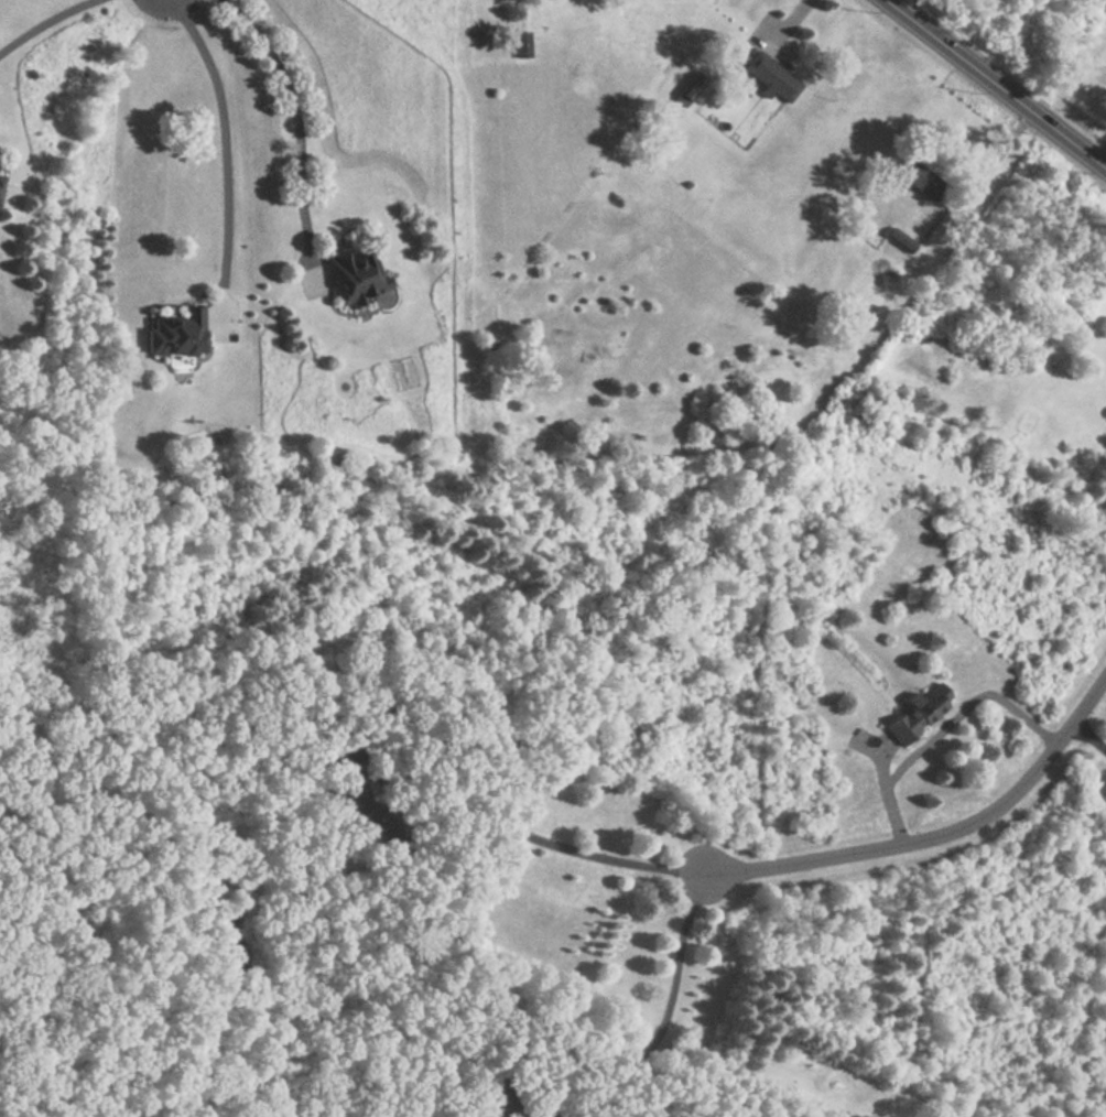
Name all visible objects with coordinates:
road: (787, 20)
road: (46, 25)
building: (522, 45)
building: (770, 77)
road: (996, 84)
road: (295, 110)
road: (224, 132)
road: (996, 154)
building: (920, 180)
building: (340, 276)
building: (175, 336)
building: (919, 713)
road: (942, 727)
road: (1088, 737)
road: (474, 812)
road: (935, 834)
road: (670, 1002)

